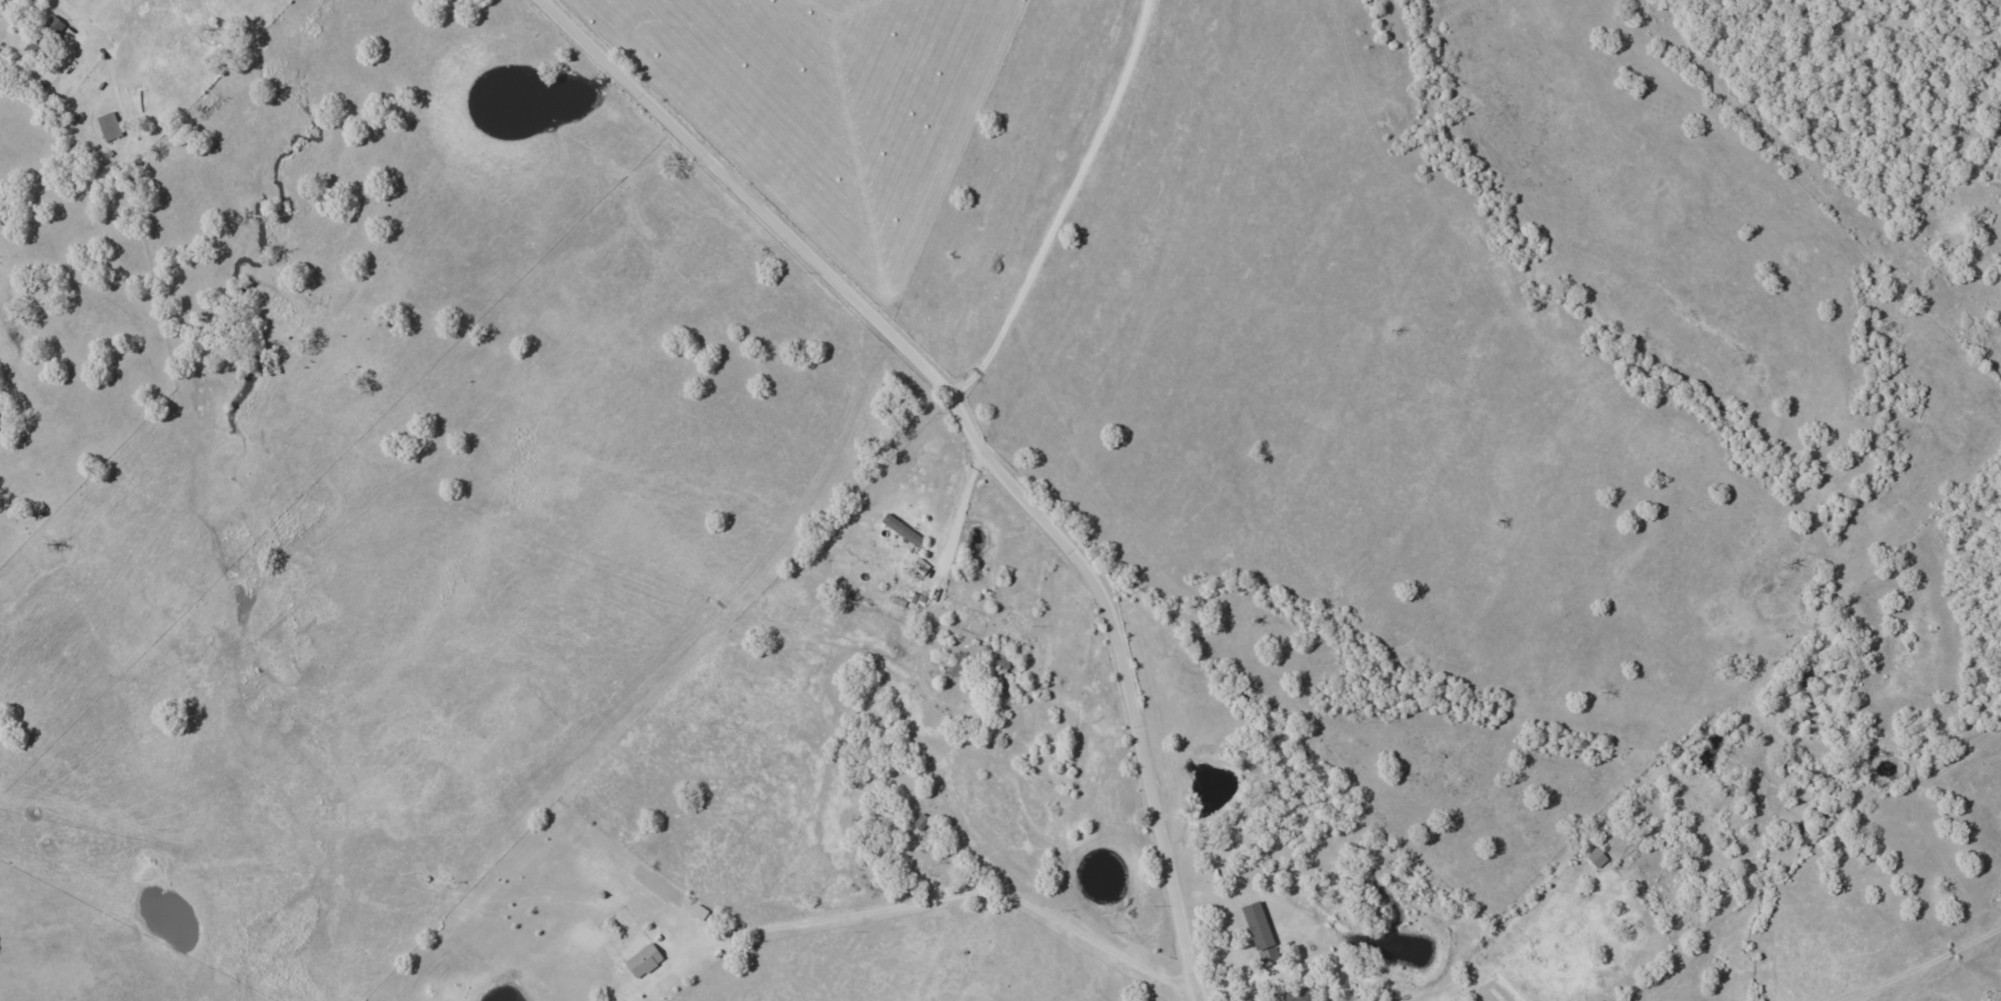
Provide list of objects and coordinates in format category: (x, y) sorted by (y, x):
road: (970, 441)
building: (902, 530)
building: (1258, 926)
building: (644, 961)

